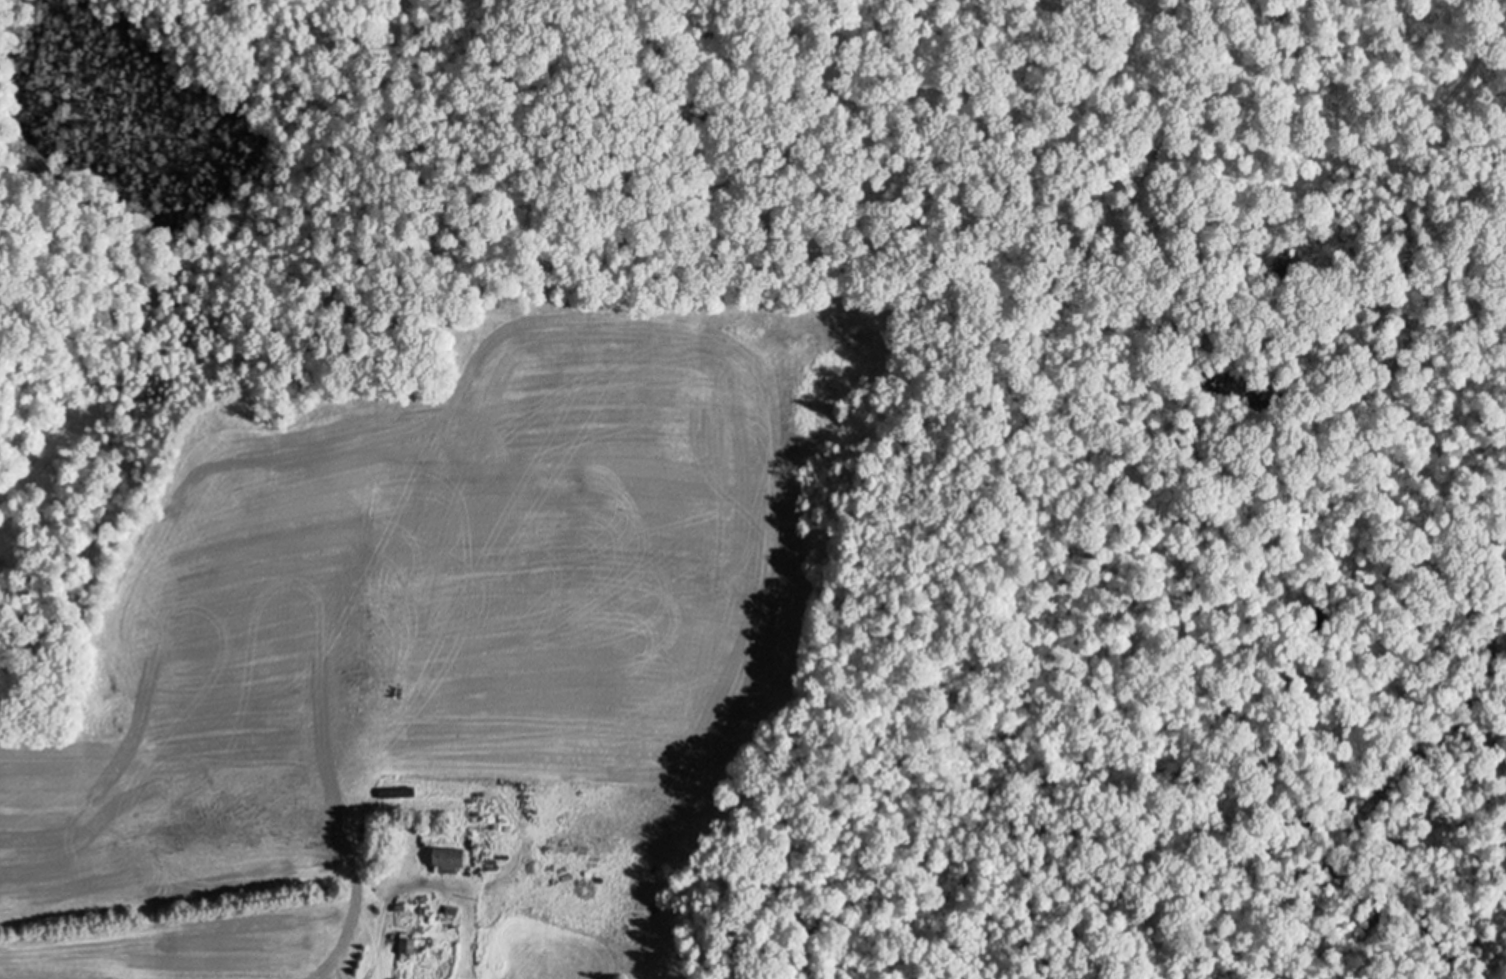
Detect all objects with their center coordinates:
road: (381, 922)
road: (25, 977)

